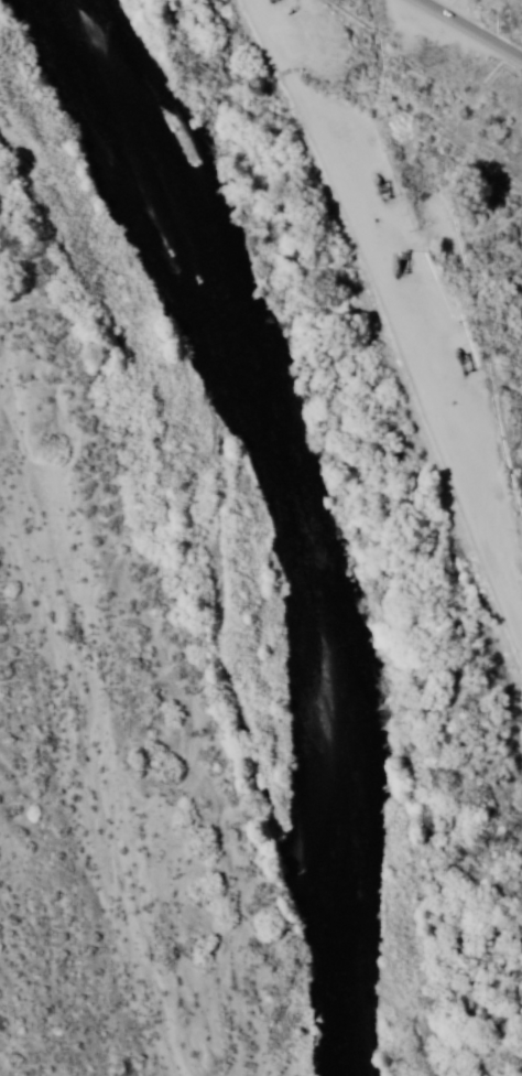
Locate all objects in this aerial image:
road: (464, 29)
road: (425, 280)
river: (243, 528)

